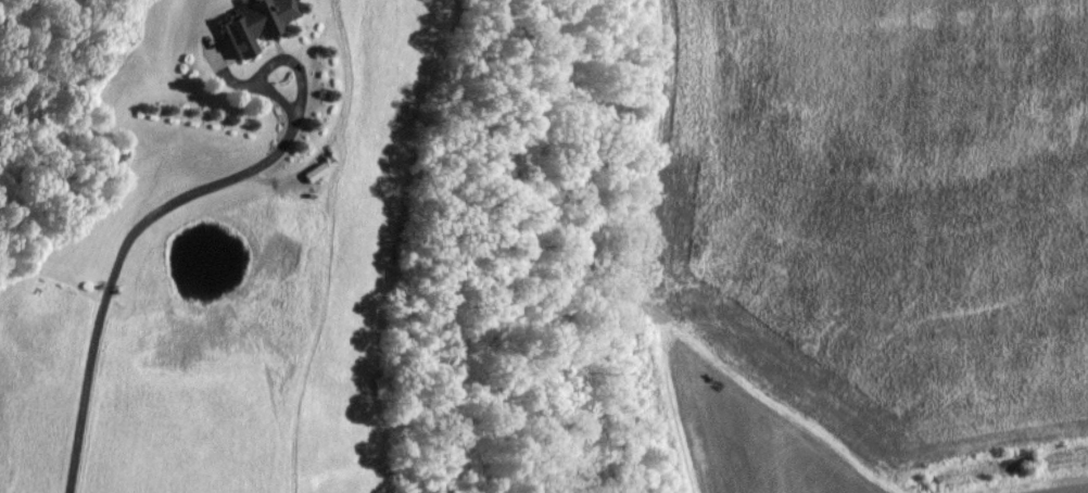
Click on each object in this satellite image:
building: (258, 24)
road: (118, 263)

